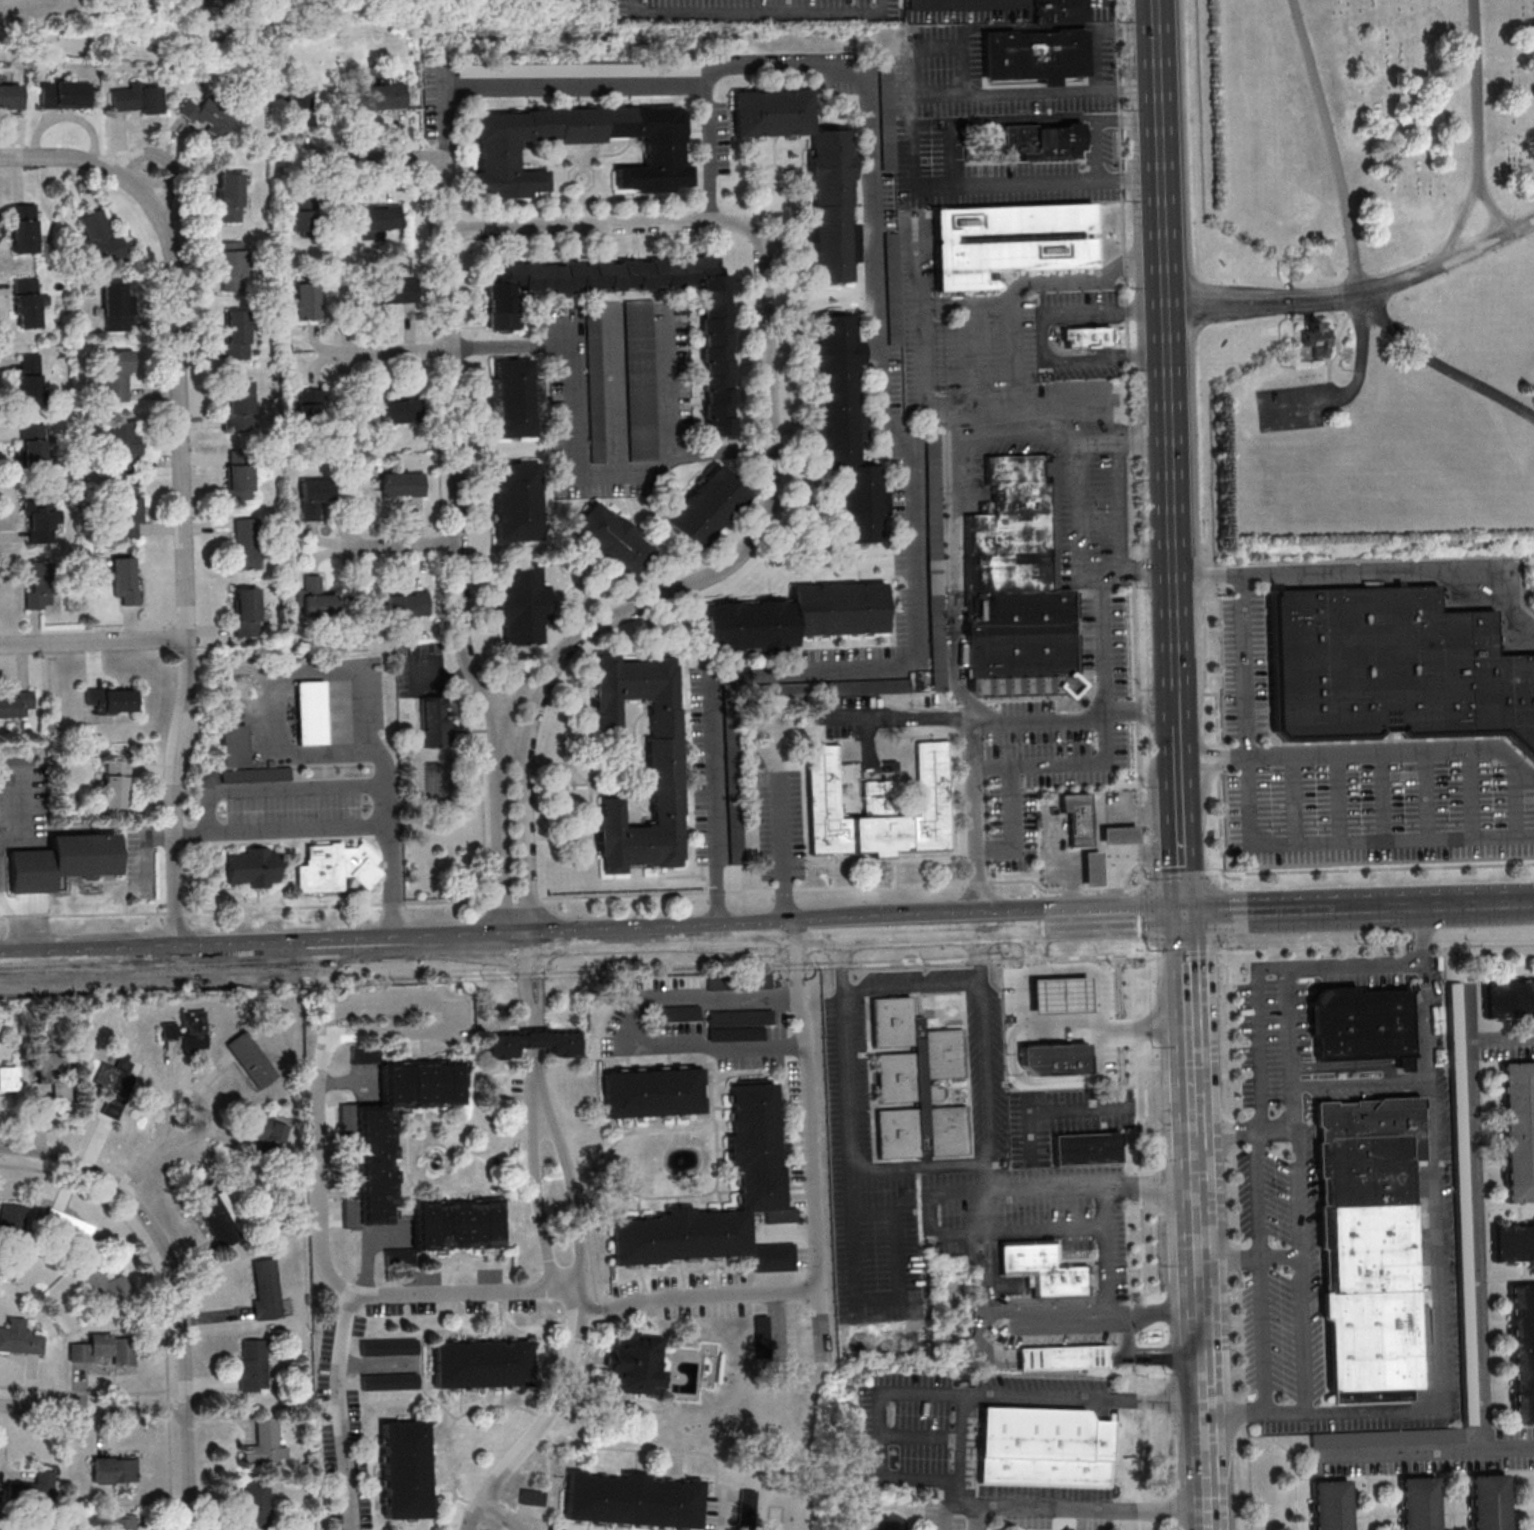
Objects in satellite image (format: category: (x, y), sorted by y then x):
road: (969, 2)
road: (761, 11)
building: (1063, 11)
park: (85, 14)
road: (421, 14)
building: (1038, 56)
road: (533, 72)
road: (1043, 93)
building: (66, 94)
building: (11, 96)
building: (383, 96)
building: (137, 98)
building: (301, 107)
building: (210, 116)
road: (1480, 138)
building: (1036, 142)
building: (500, 151)
road: (162, 157)
road: (387, 159)
road: (1009, 183)
building: (230, 196)
building: (833, 208)
road: (1496, 213)
building: (305, 216)
building: (381, 218)
road: (611, 224)
building: (25, 229)
building: (102, 235)
road: (1352, 238)
building: (1010, 245)
building: (232, 267)
park: (1363, 280)
building: (397, 290)
building: (308, 300)
road: (1368, 302)
building: (28, 303)
road: (988, 304)
building: (116, 305)
road: (1349, 320)
building: (237, 334)
road: (1167, 338)
building: (1087, 340)
building: (1312, 343)
road: (394, 351)
road: (1013, 352)
road: (1363, 356)
road: (1333, 359)
road: (438, 360)
road: (1327, 361)
building: (117, 375)
building: (30, 379)
building: (641, 380)
building: (720, 382)
road: (664, 384)
road: (768, 384)
building: (596, 395)
building: (515, 396)
building: (240, 404)
building: (311, 406)
parking lot: (1295, 408)
building: (401, 410)
road: (968, 414)
building: (847, 425)
road: (903, 436)
road: (1020, 436)
road: (457, 438)
road: (1146, 441)
road: (1102, 442)
building: (123, 444)
road: (580, 445)
road: (1132, 445)
building: (33, 448)
building: (240, 474)
building: (404, 484)
building: (935, 492)
road: (185, 494)
building: (316, 496)
building: (520, 501)
building: (710, 506)
building: (128, 508)
road: (1124, 508)
building: (41, 518)
building: (615, 539)
building: (246, 544)
road: (400, 546)
road: (1084, 552)
road: (1385, 573)
building: (124, 579)
road: (960, 582)
building: (40, 584)
building: (1020, 593)
building: (319, 598)
building: (408, 604)
building: (524, 605)
building: (247, 611)
road: (631, 611)
building: (801, 617)
road: (96, 641)
road: (1109, 657)
parking lot: (1243, 666)
building: (1390, 668)
road: (309, 671)
road: (1178, 682)
road: (1157, 696)
building: (112, 699)
road: (1249, 700)
building: (15, 705)
road: (1179, 710)
building: (312, 712)
road: (1159, 717)
road: (981, 721)
building: (436, 722)
road: (510, 727)
building: (234, 745)
road: (1398, 752)
road: (1182, 758)
building: (272, 763)
building: (256, 774)
road: (283, 789)
road: (528, 803)
parking lot: (1377, 816)
building: (1081, 817)
road: (979, 820)
road: (502, 824)
road: (282, 827)
building: (1121, 834)
road: (1185, 847)
road: (788, 854)
building: (254, 867)
building: (337, 867)
building: (1093, 868)
road: (393, 884)
road: (572, 897)
road: (1471, 898)
road: (1297, 904)
traffic signals: (1188, 909)
road: (1085, 913)
road: (1143, 915)
road: (982, 918)
road: (912, 920)
road: (818, 924)
road: (1482, 942)
road: (396, 944)
road: (1424, 944)
road: (1409, 946)
road: (1415, 946)
road: (1147, 948)
road: (982, 949)
road: (1312, 949)
road: (1190, 953)
road: (845, 955)
road: (1105, 955)
road: (1415, 957)
road: (1036, 958)
road: (1006, 959)
road: (979, 960)
road: (791, 961)
road: (645, 962)
road: (907, 962)
road: (1417, 963)
road: (818, 965)
road: (839, 965)
road: (1294, 967)
road: (424, 970)
road: (326, 973)
road: (311, 975)
road: (525, 978)
road: (539, 979)
road: (915, 984)
road: (1098, 992)
building: (1061, 995)
road: (1228, 1012)
road: (443, 1018)
road: (1427, 1020)
road: (1134, 1021)
road: (536, 1022)
road: (1194, 1022)
road: (1063, 1024)
building: (1363, 1024)
road: (638, 1028)
road: (537, 1034)
road: (1257, 1035)
building: (534, 1042)
building: (367, 1054)
building: (253, 1059)
building: (1055, 1059)
building: (54, 1072)
building: (119, 1075)
road: (1019, 1077)
building: (8, 1078)
road: (539, 1079)
road: (1291, 1083)
building: (654, 1092)
road: (1137, 1100)
road: (1091, 1107)
building: (349, 1117)
building: (1518, 1130)
building: (268, 1131)
building: (377, 1137)
road: (814, 1142)
road: (1139, 1144)
building: (1087, 1148)
road: (1200, 1154)
road: (154, 1155)
building: (1458, 1159)
road: (921, 1166)
building: (760, 1184)
road: (1141, 1186)
road: (1070, 1189)
parking lot: (1346, 1196)
road: (577, 1197)
road: (541, 1207)
building: (215, 1213)
road: (1479, 1216)
building: (12, 1221)
building: (67, 1226)
building: (455, 1227)
road: (1064, 1230)
road: (1142, 1230)
road: (322, 1240)
building: (1367, 1241)
building: (1512, 1242)
road: (1281, 1255)
building: (777, 1256)
road: (1233, 1256)
building: (1043, 1268)
road: (1107, 1272)
road: (1265, 1273)
road: (1203, 1280)
road: (177, 1285)
building: (107, 1287)
building: (268, 1288)
road: (699, 1296)
road: (882, 1299)
road: (1438, 1307)
road: (1054, 1315)
road: (1300, 1320)
building: (764, 1334)
building: (20, 1337)
building: (391, 1346)
building: (1067, 1347)
building: (108, 1350)
building: (1522, 1351)
road: (1146, 1354)
building: (638, 1363)
building: (254, 1364)
building: (484, 1364)
building: (392, 1381)
road: (94, 1411)
road: (345, 1415)
road: (551, 1419)
building: (1385, 1437)
road: (884, 1440)
building: (267, 1442)
building: (1043, 1448)
road: (1424, 1453)
road: (1209, 1458)
building: (115, 1469)
building: (408, 1469)
building: (39, 1486)
building: (534, 1497)
building: (633, 1500)
building: (1488, 1502)
building: (1418, 1503)
building: (749, 1504)
building: (259, 1505)
building: (1330, 1505)
road: (504, 1516)
building: (124, 1522)

